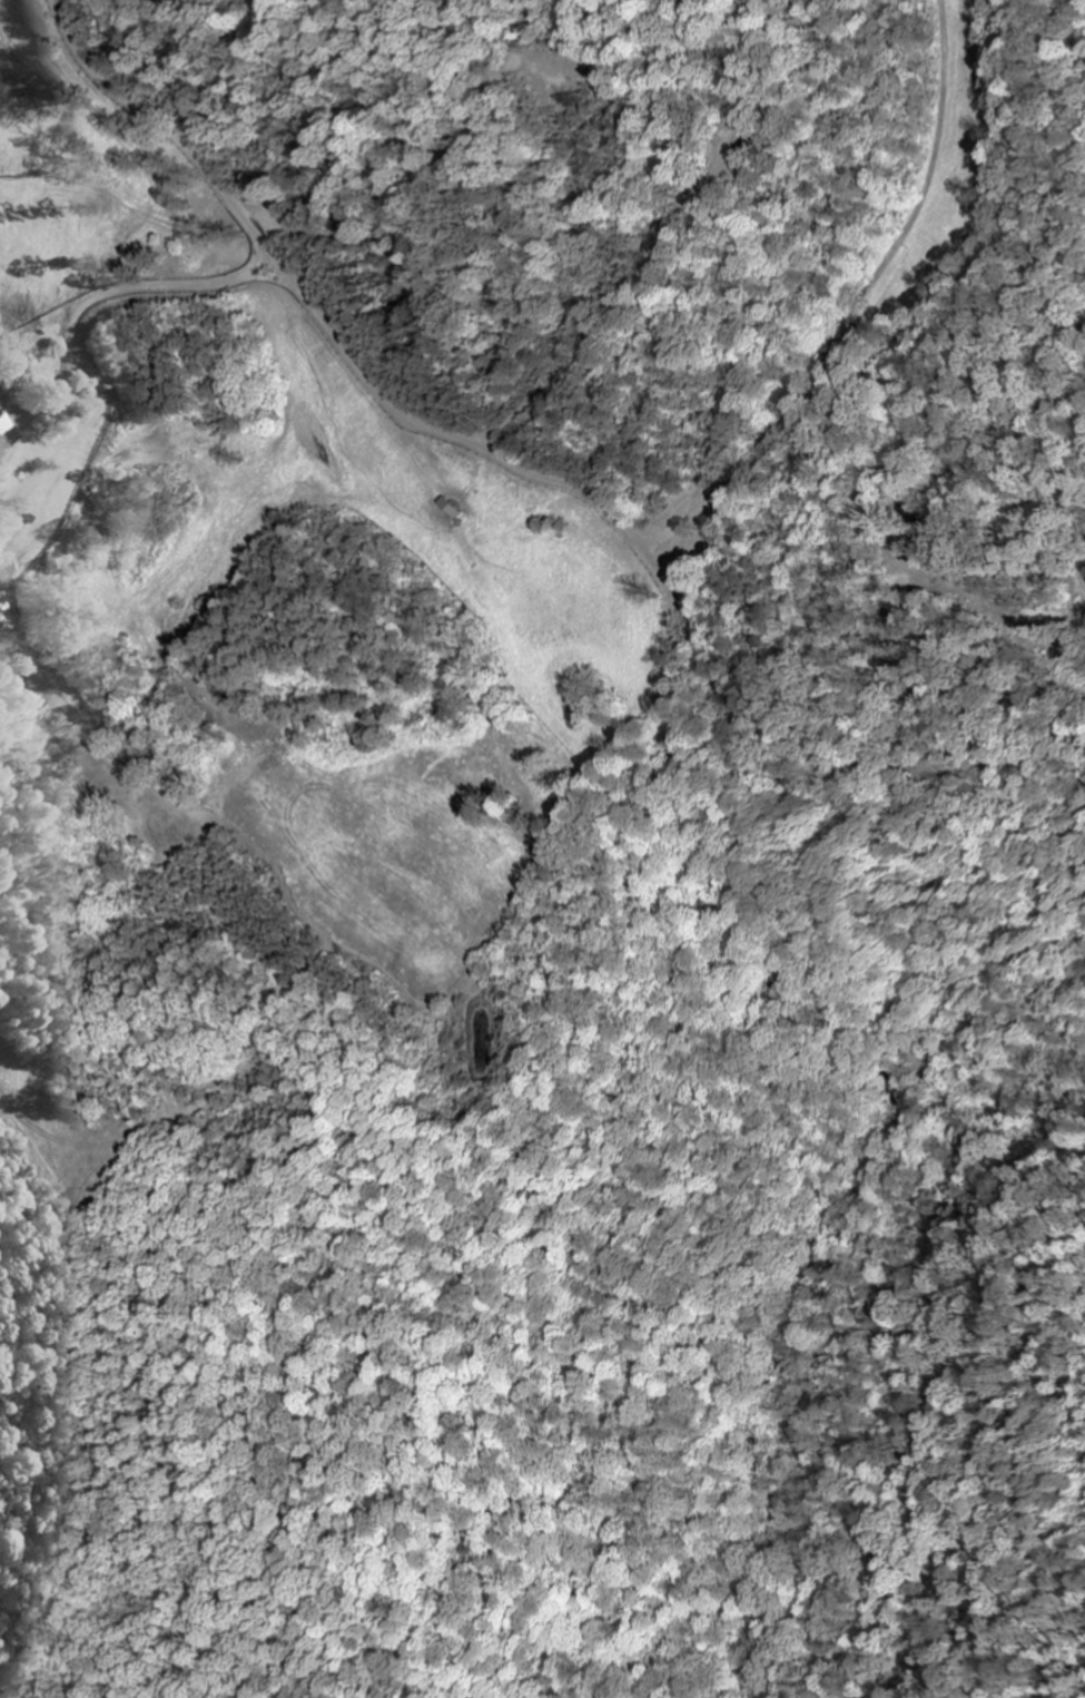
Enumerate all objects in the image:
road: (146, 117)
building: (1, 408)
building: (1, 424)
road: (511, 462)
building: (453, 508)
road: (908, 765)
road: (828, 1275)

